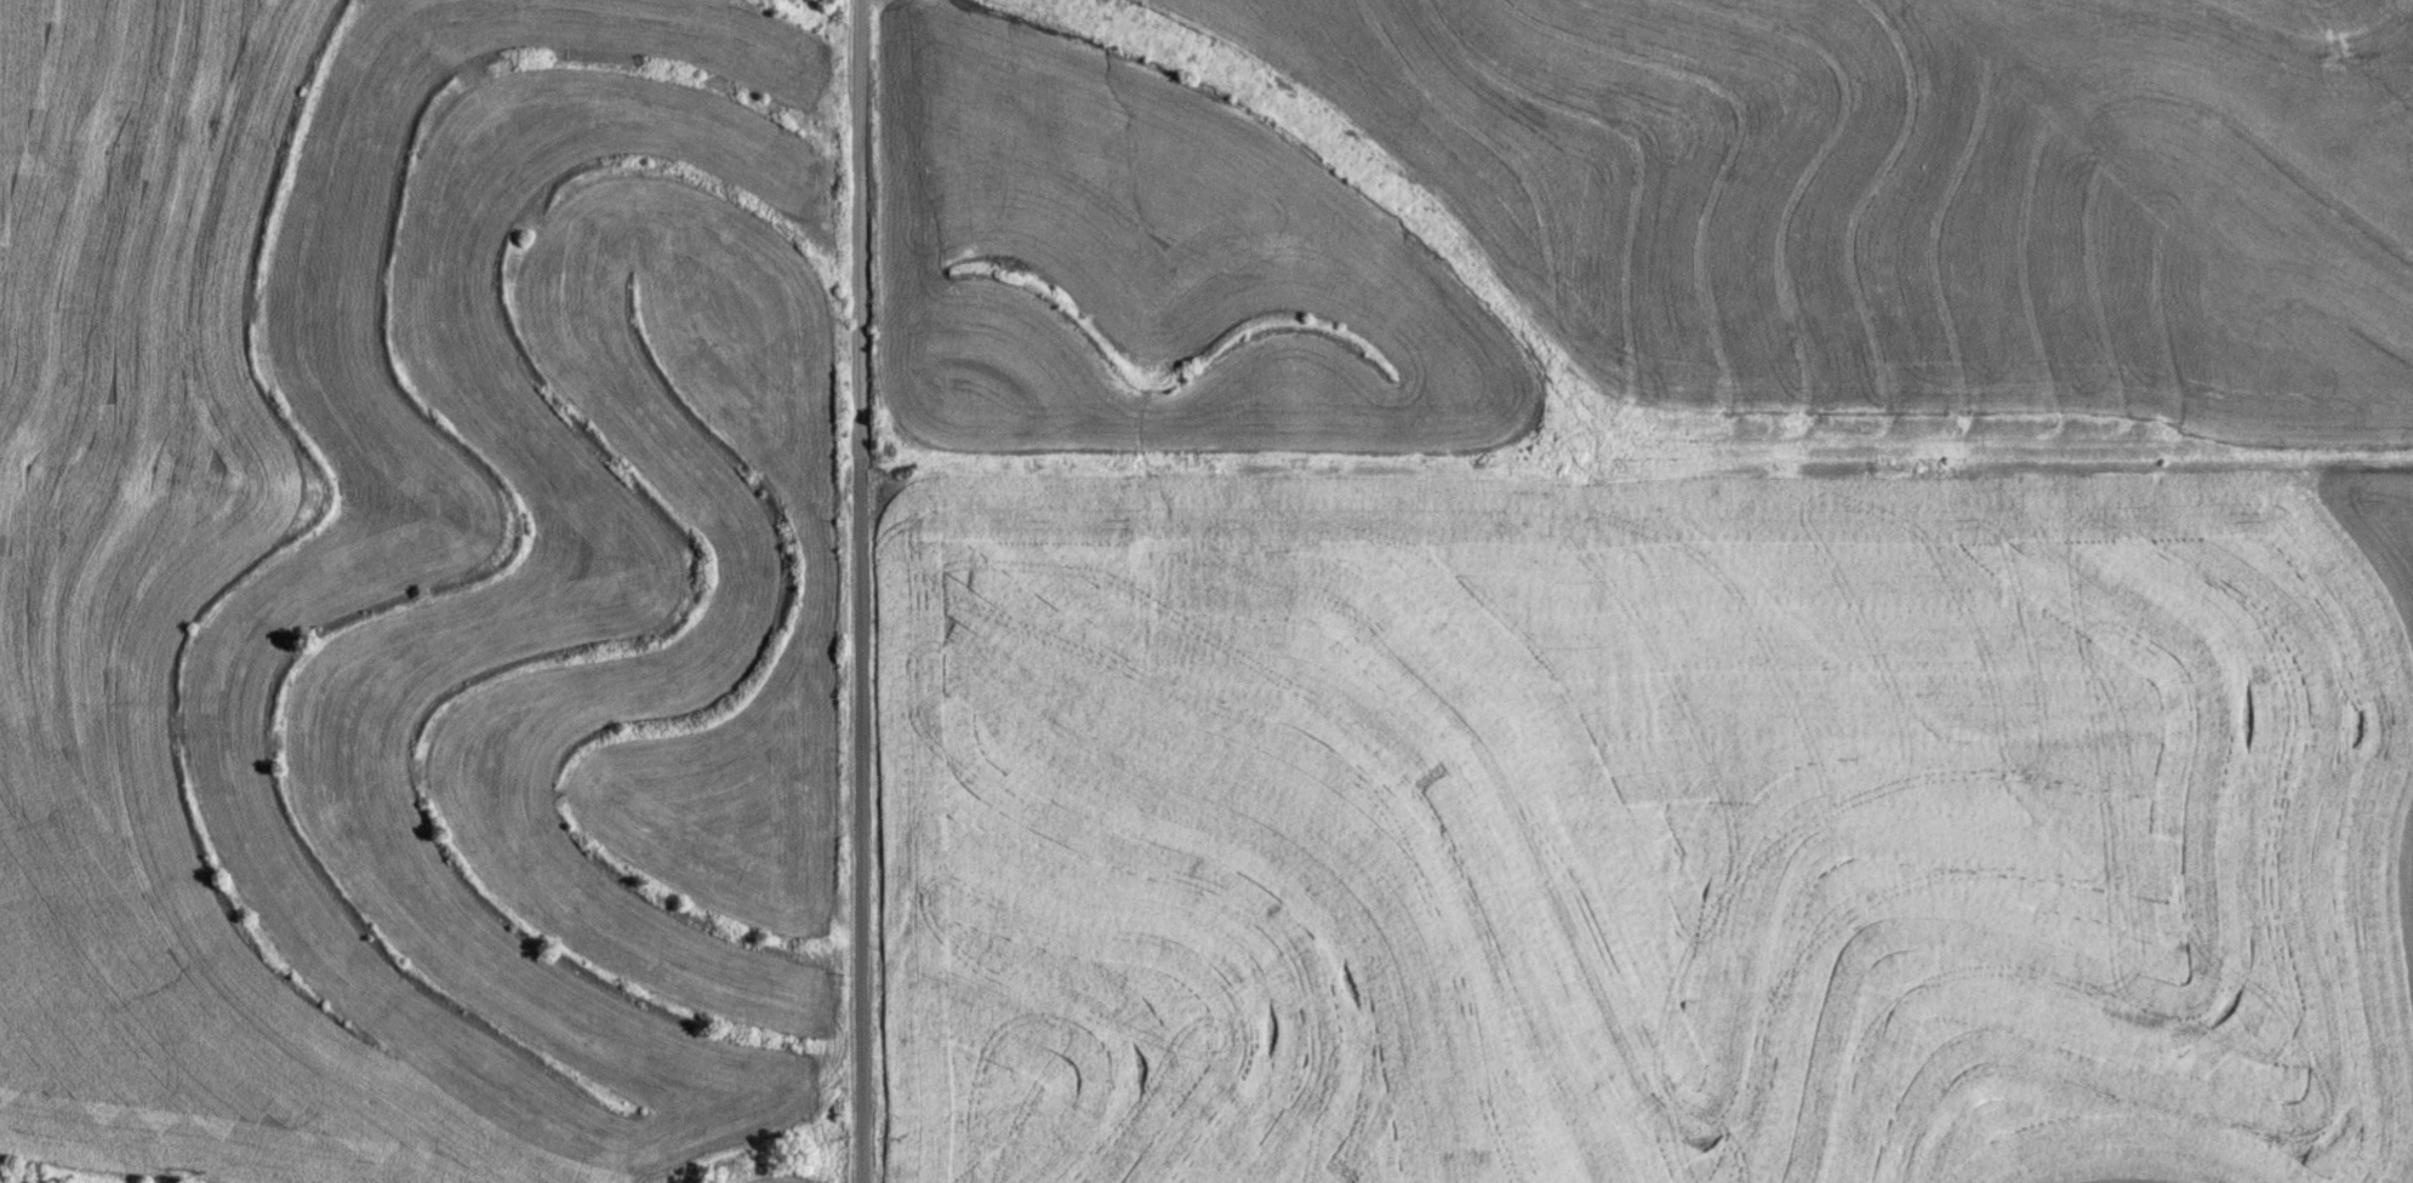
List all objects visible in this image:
road: (850, 591)

